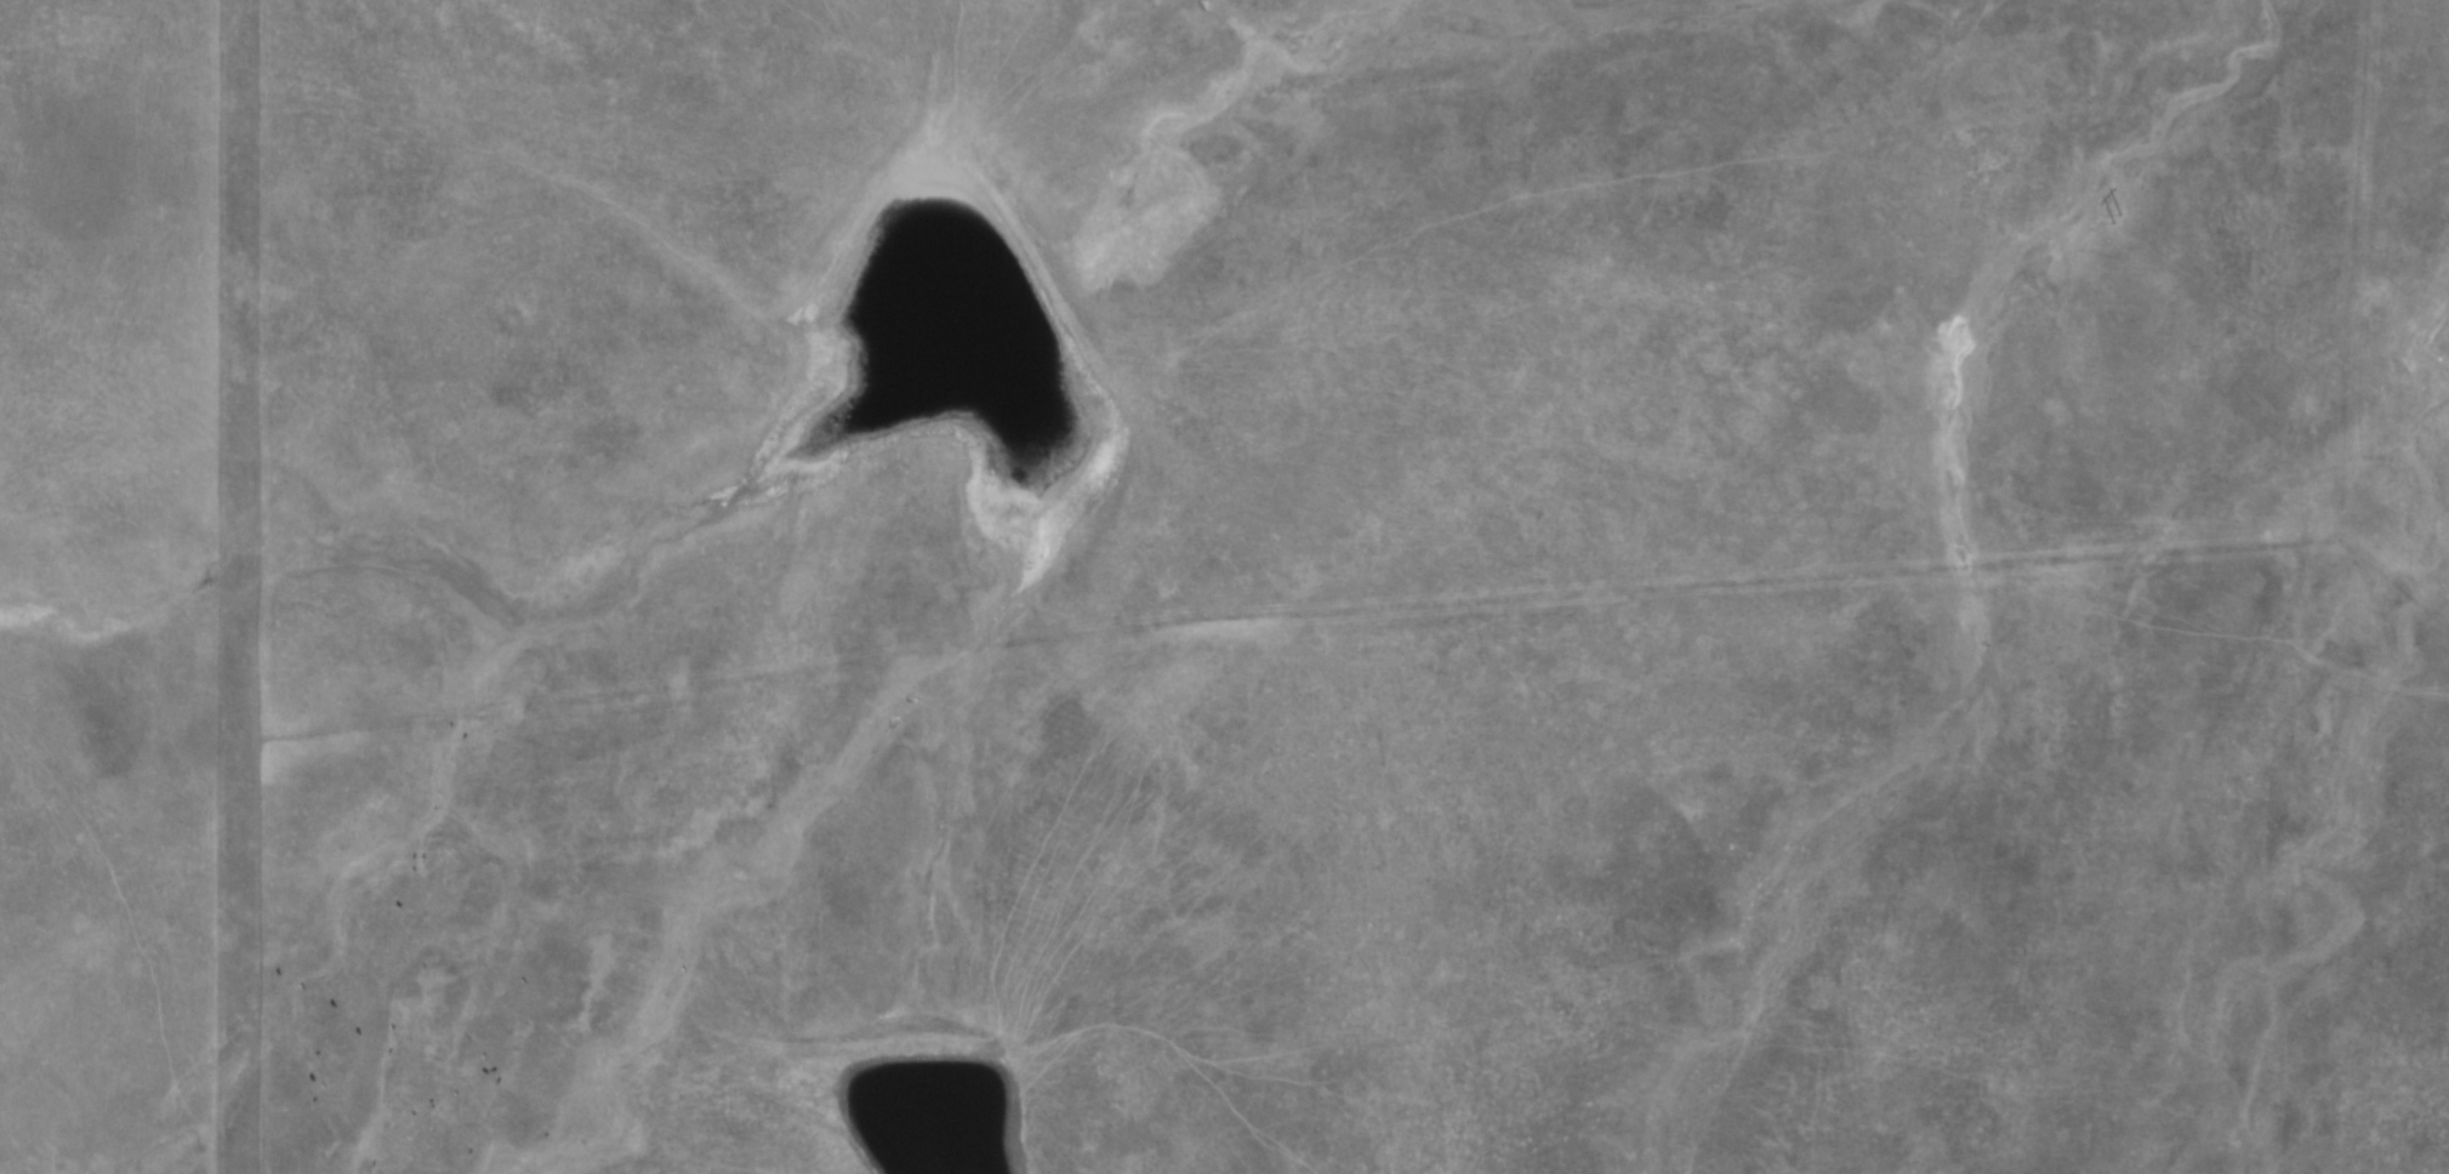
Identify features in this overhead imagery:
power tower: (2114, 218)

